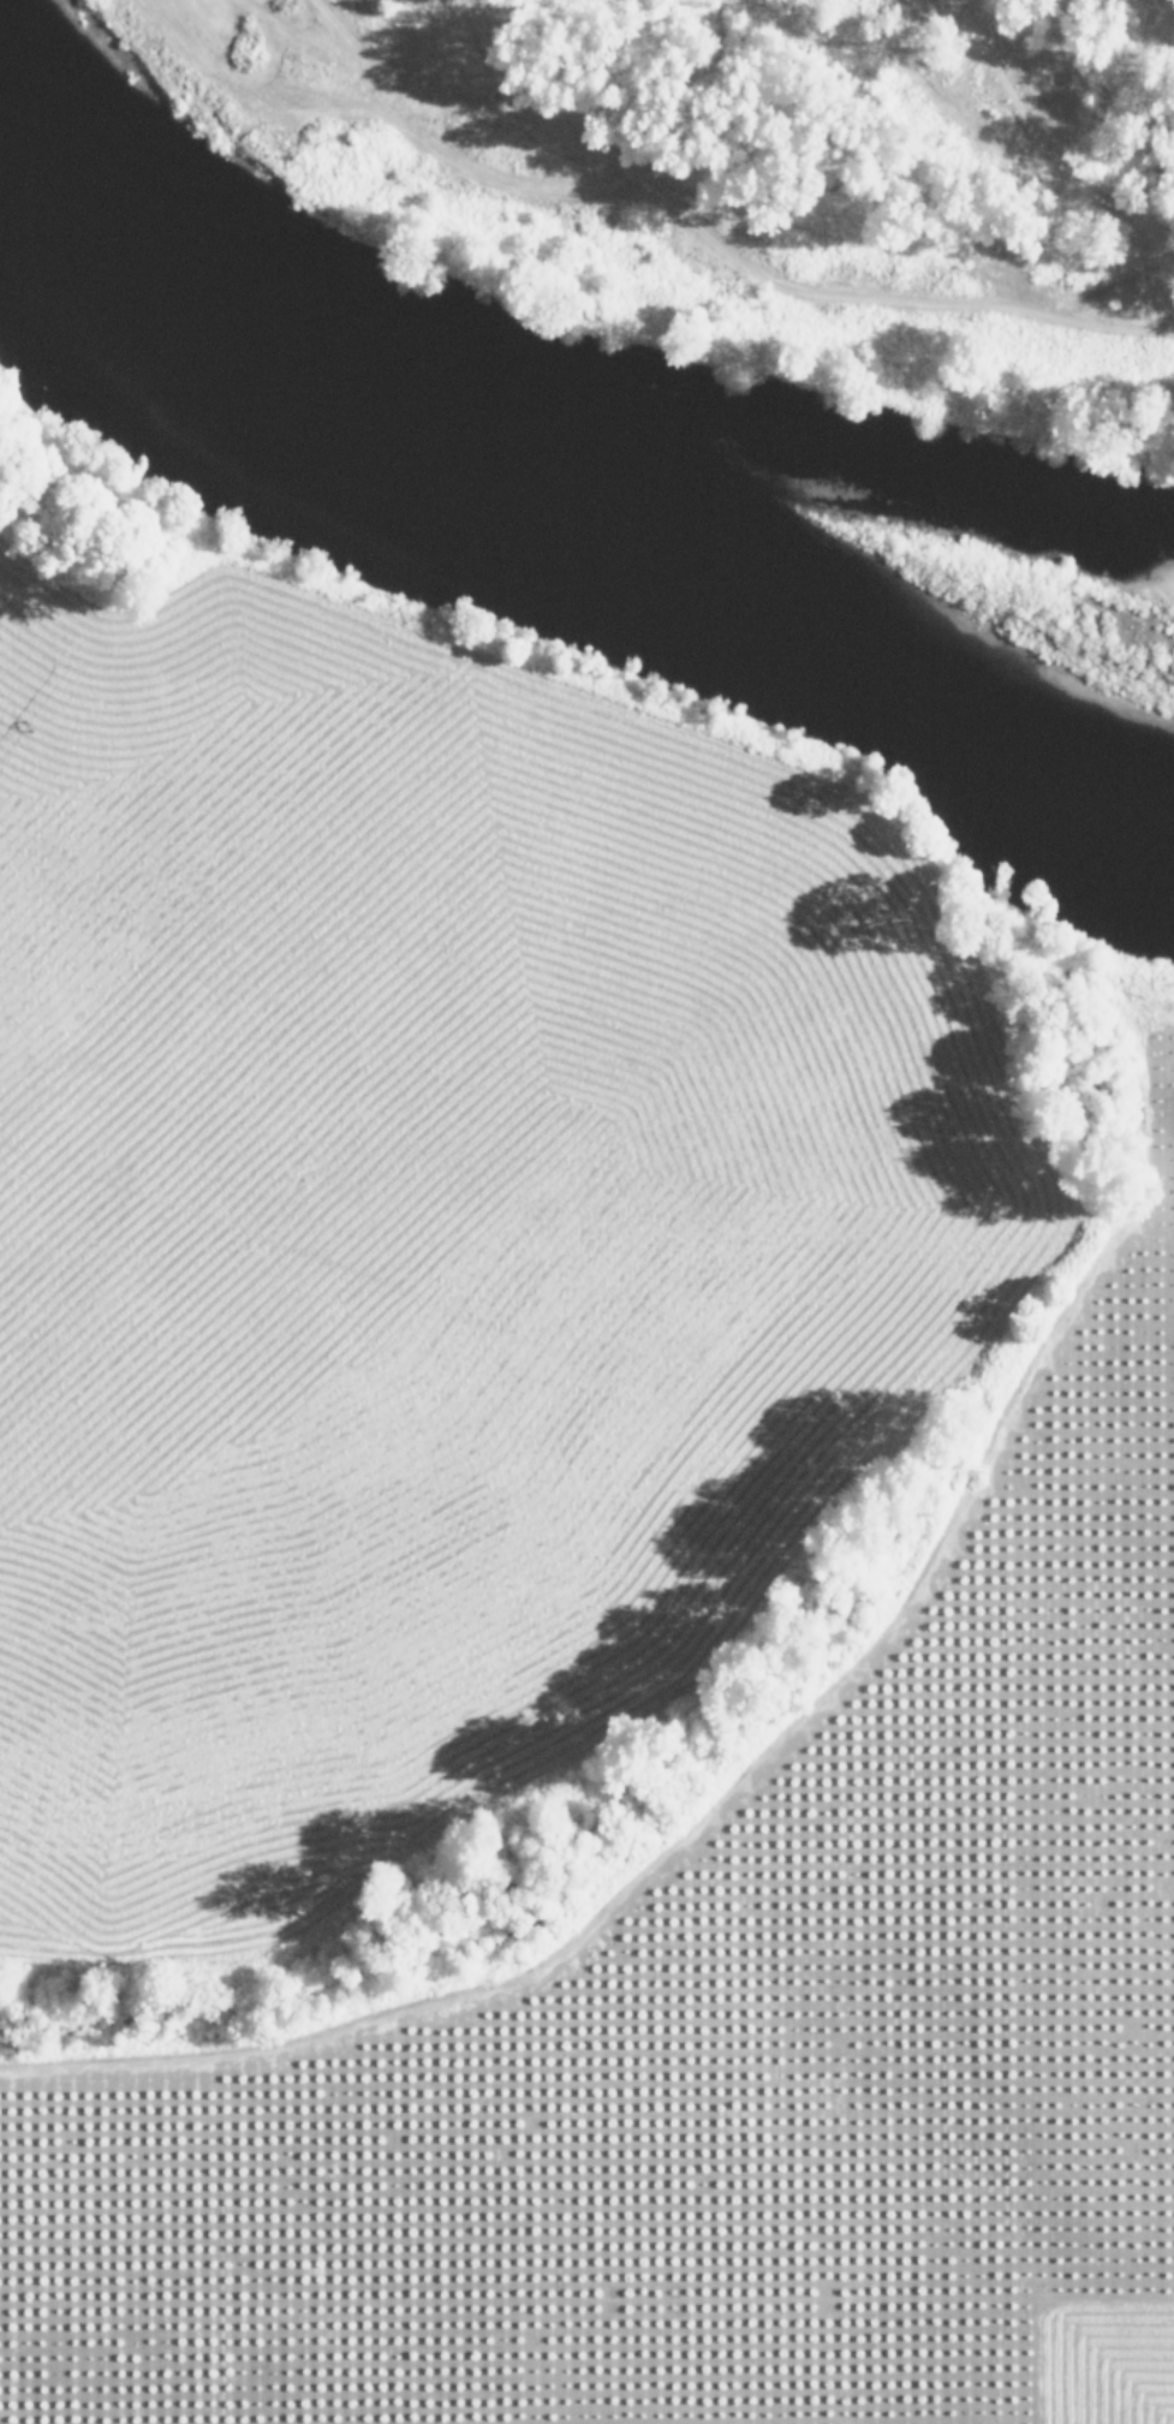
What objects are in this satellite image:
river: (555, 532)
road: (632, 1088)
crop: (727, 2033)

